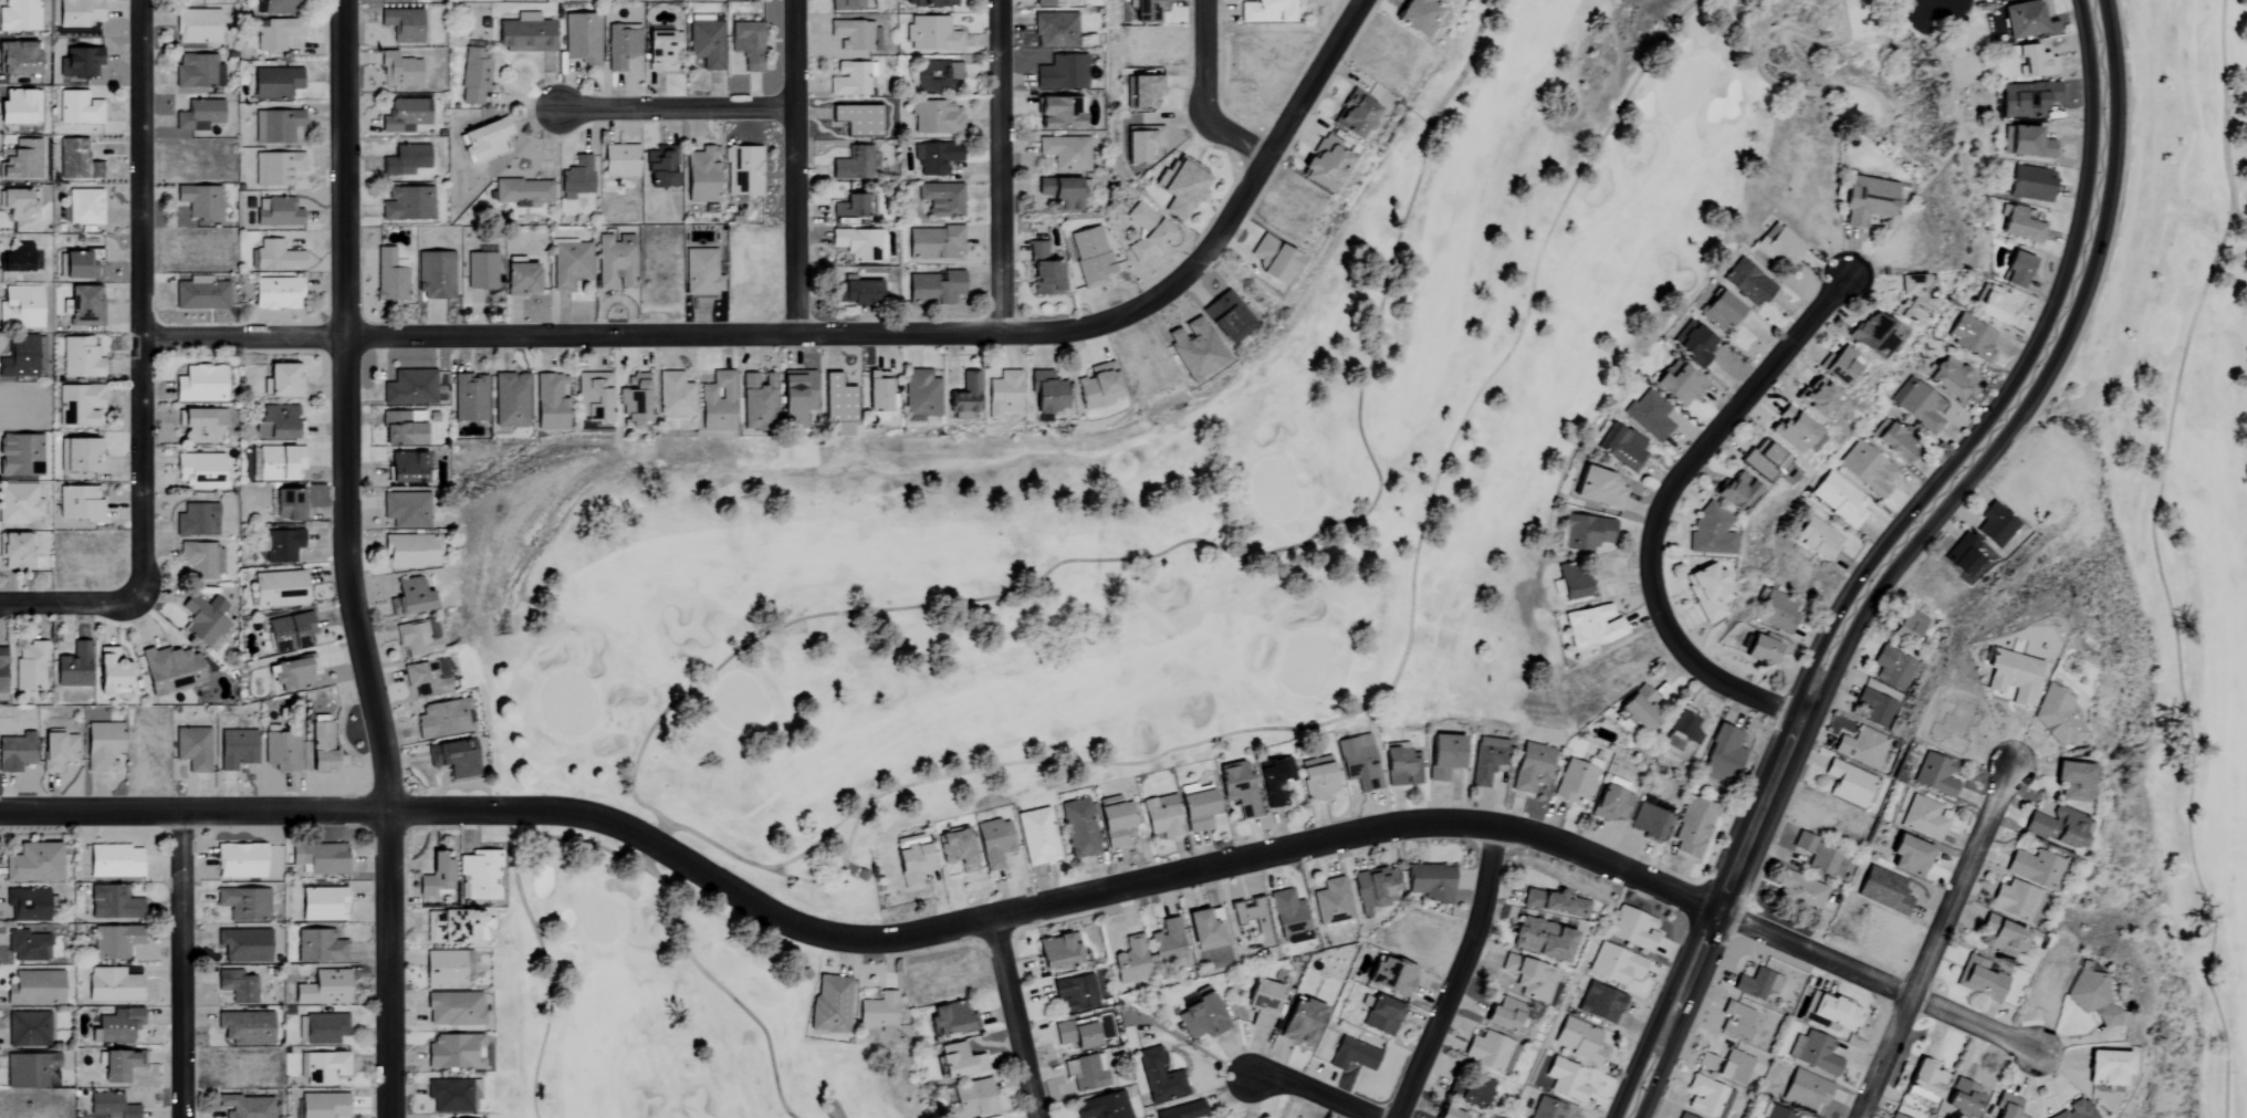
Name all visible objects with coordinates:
building: (1989, 0)
building: (928, 2)
building: (1043, 2)
building: (848, 4)
building: (280, 7)
building: (1151, 11)
building: (1264, 11)
building: (77, 13)
building: (19, 15)
building: (1417, 15)
building: (2024, 19)
building: (401, 24)
building: (196, 27)
building: (1054, 31)
building: (275, 33)
building: (931, 33)
building: (856, 35)
building: (581, 38)
building: (706, 41)
building: (748, 44)
building: (620, 45)
building: (661, 49)
building: (17, 56)
building: (2035, 61)
building: (80, 62)
building: (197, 71)
building: (398, 71)
building: (1059, 72)
building: (473, 75)
building: (936, 75)
building: (850, 79)
building: (274, 83)
building: (1141, 91)
road: (1204, 94)
building: (2027, 100)
road: (677, 105)
building: (19, 106)
building: (77, 108)
building: (1057, 113)
building: (1354, 114)
building: (198, 115)
building: (405, 115)
building: (936, 117)
building: (857, 119)
building: (274, 126)
building: (484, 139)
building: (2026, 142)
building: (1141, 144)
building: (1064, 153)
building: (936, 157)
building: (21, 160)
building: (75, 160)
building: (405, 160)
building: (618, 160)
building: (1324, 163)
building: (854, 164)
building: (660, 166)
road: (1001, 166)
road: (793, 167)
building: (275, 168)
building: (742, 170)
building: (700, 175)
building: (575, 178)
building: (2031, 184)
building: (1182, 188)
building: (524, 192)
building: (1058, 192)
building: (940, 200)
building: (1868, 200)
building: (200, 202)
building: (15, 203)
building: (407, 203)
building: (85, 207)
building: (849, 207)
building: (278, 212)
building: (2024, 224)
building: (1145, 232)
building: (933, 242)
building: (856, 244)
building: (1779, 247)
building: (1090, 255)
building: (275, 257)
building: (15, 258)
building: (1271, 260)
building: (614, 261)
building: (568, 264)
building: (2017, 270)
building: (480, 271)
building: (1043, 271)
building: (700, 272)
building: (389, 275)
building: (433, 275)
building: (520, 278)
building: (1747, 283)
building: (933, 288)
building: (856, 291)
building: (275, 293)
building: (199, 294)
building: (1912, 299)
road: (136, 300)
building: (82, 303)
building: (21, 305)
building: (1994, 305)
building: (1721, 311)
building: (1226, 317)
road: (834, 333)
building: (1872, 334)
building: (1973, 337)
building: (1692, 342)
building: (1193, 348)
building: (19, 358)
building: (80, 358)
building: (1838, 363)
building: (1948, 377)
building: (1678, 384)
building: (199, 385)
building: (409, 387)
building: (1098, 387)
building: (672, 394)
building: (876, 394)
building: (920, 394)
building: (795, 395)
building: (1002, 395)
building: (1046, 396)
building: (593, 397)
building: (963, 397)
building: (1815, 397)
building: (469, 398)
building: (510, 400)
building: (715, 400)
building: (837, 400)
building: (633, 401)
building: (550, 403)
building: (755, 403)
building: (79, 404)
building: (1649, 416)
building: (276, 422)
building: (200, 426)
building: (401, 428)
building: (1790, 430)
building: (1893, 441)
building: (1618, 446)
building: (20, 456)
building: (79, 456)
building: (1762, 459)
building: (279, 463)
building: (405, 468)
building: (1868, 469)
building: (1600, 489)
building: (1734, 492)
building: (1840, 499)
building: (18, 503)
road: (1662, 503)
building: (79, 504)
building: (288, 504)
building: (405, 510)
building: (196, 521)
building: (1996, 525)
building: (1584, 532)
building: (1710, 534)
building: (1814, 537)
building: (282, 545)
park: (1108, 548)
building: (14, 552)
building: (410, 552)
road: (1888, 555)
building: (1965, 555)
building: (200, 560)
road: (342, 561)
park: (2166, 564)
building: (1572, 582)
building: (279, 589)
building: (1705, 589)
building: (409, 598)
road: (72, 599)
building: (1776, 610)
building: (203, 621)
building: (1592, 626)
building: (1909, 626)
building: (290, 633)
building: (417, 638)
building: (1763, 648)
building: (31, 667)
building: (73, 667)
building: (1893, 668)
building: (1, 670)
building: (170, 670)
building: (111, 672)
building: (292, 673)
building: (2013, 676)
building: (424, 679)
building: (1877, 708)
building: (1640, 709)
building: (2056, 715)
building: (443, 719)
building: (1681, 732)
building: (102, 746)
building: (1862, 748)
building: (192, 749)
building: (236, 750)
building: (321, 750)
building: (56, 751)
building: (15, 752)
building: (281, 752)
building: (1722, 755)
building: (1443, 756)
building: (452, 759)
building: (1486, 760)
building: (1358, 762)
building: (1402, 767)
building: (1530, 767)
building: (1935, 775)
building: (1316, 779)
building: (1574, 782)
building: (2073, 782)
building: (1276, 783)
building: (1849, 784)
building: (1236, 791)
building: (1609, 803)
building: (1196, 811)
building: (1161, 816)
building: (1922, 818)
building: (1647, 822)
building: (1115, 823)
building: (1692, 827)
building: (2057, 827)
building: (1078, 829)
building: (1036, 837)
building: (993, 843)
building: (955, 850)
building: (1821, 856)
building: (1909, 856)
building: (320, 858)
building: (113, 861)
building: (239, 861)
building: (32, 864)
building: (911, 866)
building: (2036, 869)
building: (479, 876)
building: (435, 877)
building: (1430, 882)
building: (1373, 889)
building: (1883, 890)
building: (1800, 892)
building: (2017, 900)
building: (1331, 902)
building: (112, 903)
building: (1550, 903)
building: (29, 905)
building: (243, 905)
building: (322, 905)
road: (1028, 912)
building: (1288, 913)
building: (1252, 920)
building: (451, 928)
building: (1631, 929)
building: (1204, 931)
building: (2003, 938)
building: (1539, 940)
road: (1934, 941)
building: (115, 942)
building: (1166, 943)
building: (243, 945)
building: (28, 947)
building: (320, 947)
building: (1056, 953)
building: (1129, 962)
road: (179, 964)
building: (1614, 964)
building: (446, 968)
road: (1457, 975)
building: (1390, 978)
building: (1528, 979)
building: (1979, 980)
building: (1757, 984)
building: (112, 985)
building: (236, 986)
building: (34, 989)
building: (323, 989)
building: (1075, 994)
building: (2093, 997)
building: (1261, 1003)
building: (829, 1004)
building: (1599, 1004)
building: (452, 1010)
building: (878, 1012)
building: (1835, 1013)
building: (1199, 1014)
building: (1380, 1014)
building: (1503, 1015)
building: (949, 1020)
road: (1015, 1020)
building: (1736, 1021)
building: (1299, 1023)
building: (116, 1026)
building: (244, 1027)
building: (323, 1028)
building: (28, 1030)
building: (1074, 1035)
building: (1579, 1041)
building: (454, 1052)
building: (1490, 1053)
building: (1814, 1053)
building: (1352, 1055)
building: (959, 1062)
building: (1705, 1062)
building: (118, 1066)
building: (324, 1068)
building: (2107, 1069)
building: (30, 1070)
building: (1086, 1073)
building: (1159, 1078)
building: (1927, 1079)
building: (1566, 1080)
building: (1807, 1090)
road: (1311, 1094)
building: (1473, 1094)
building: (452, 1096)
building: (1707, 1098)
building: (1964, 1099)
building: (971, 1100)
building: (108, 1106)
building: (244, 1106)
building: (322, 1106)
building: (2007, 1106)
building: (1102, 1107)
building: (1547, 1109)
building: (2077, 1110)
building: (1182, 1111)
building: (1775, 1112)
building: (1448, 1114)
building: (1681, 1116)
building: (1893, 1116)

